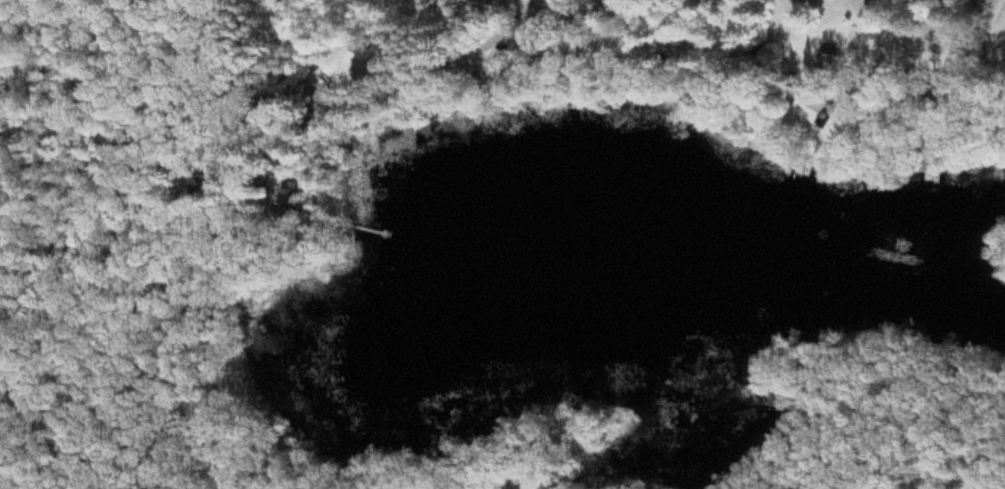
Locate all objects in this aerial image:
road: (947, 478)

